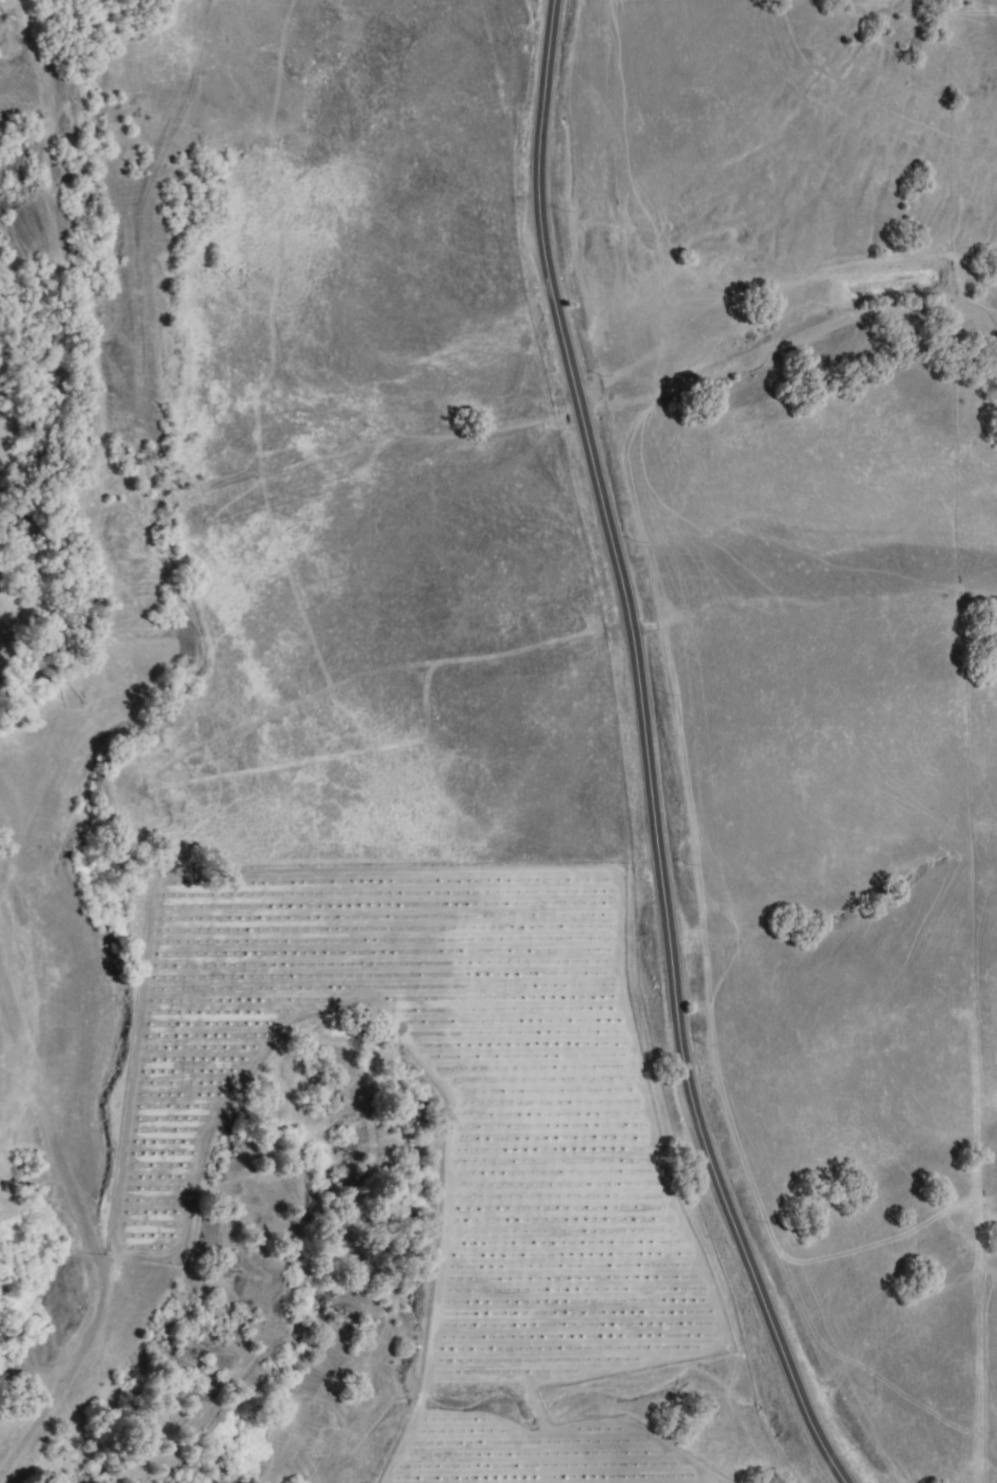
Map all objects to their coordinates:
road: (647, 752)
crop: (405, 1202)

